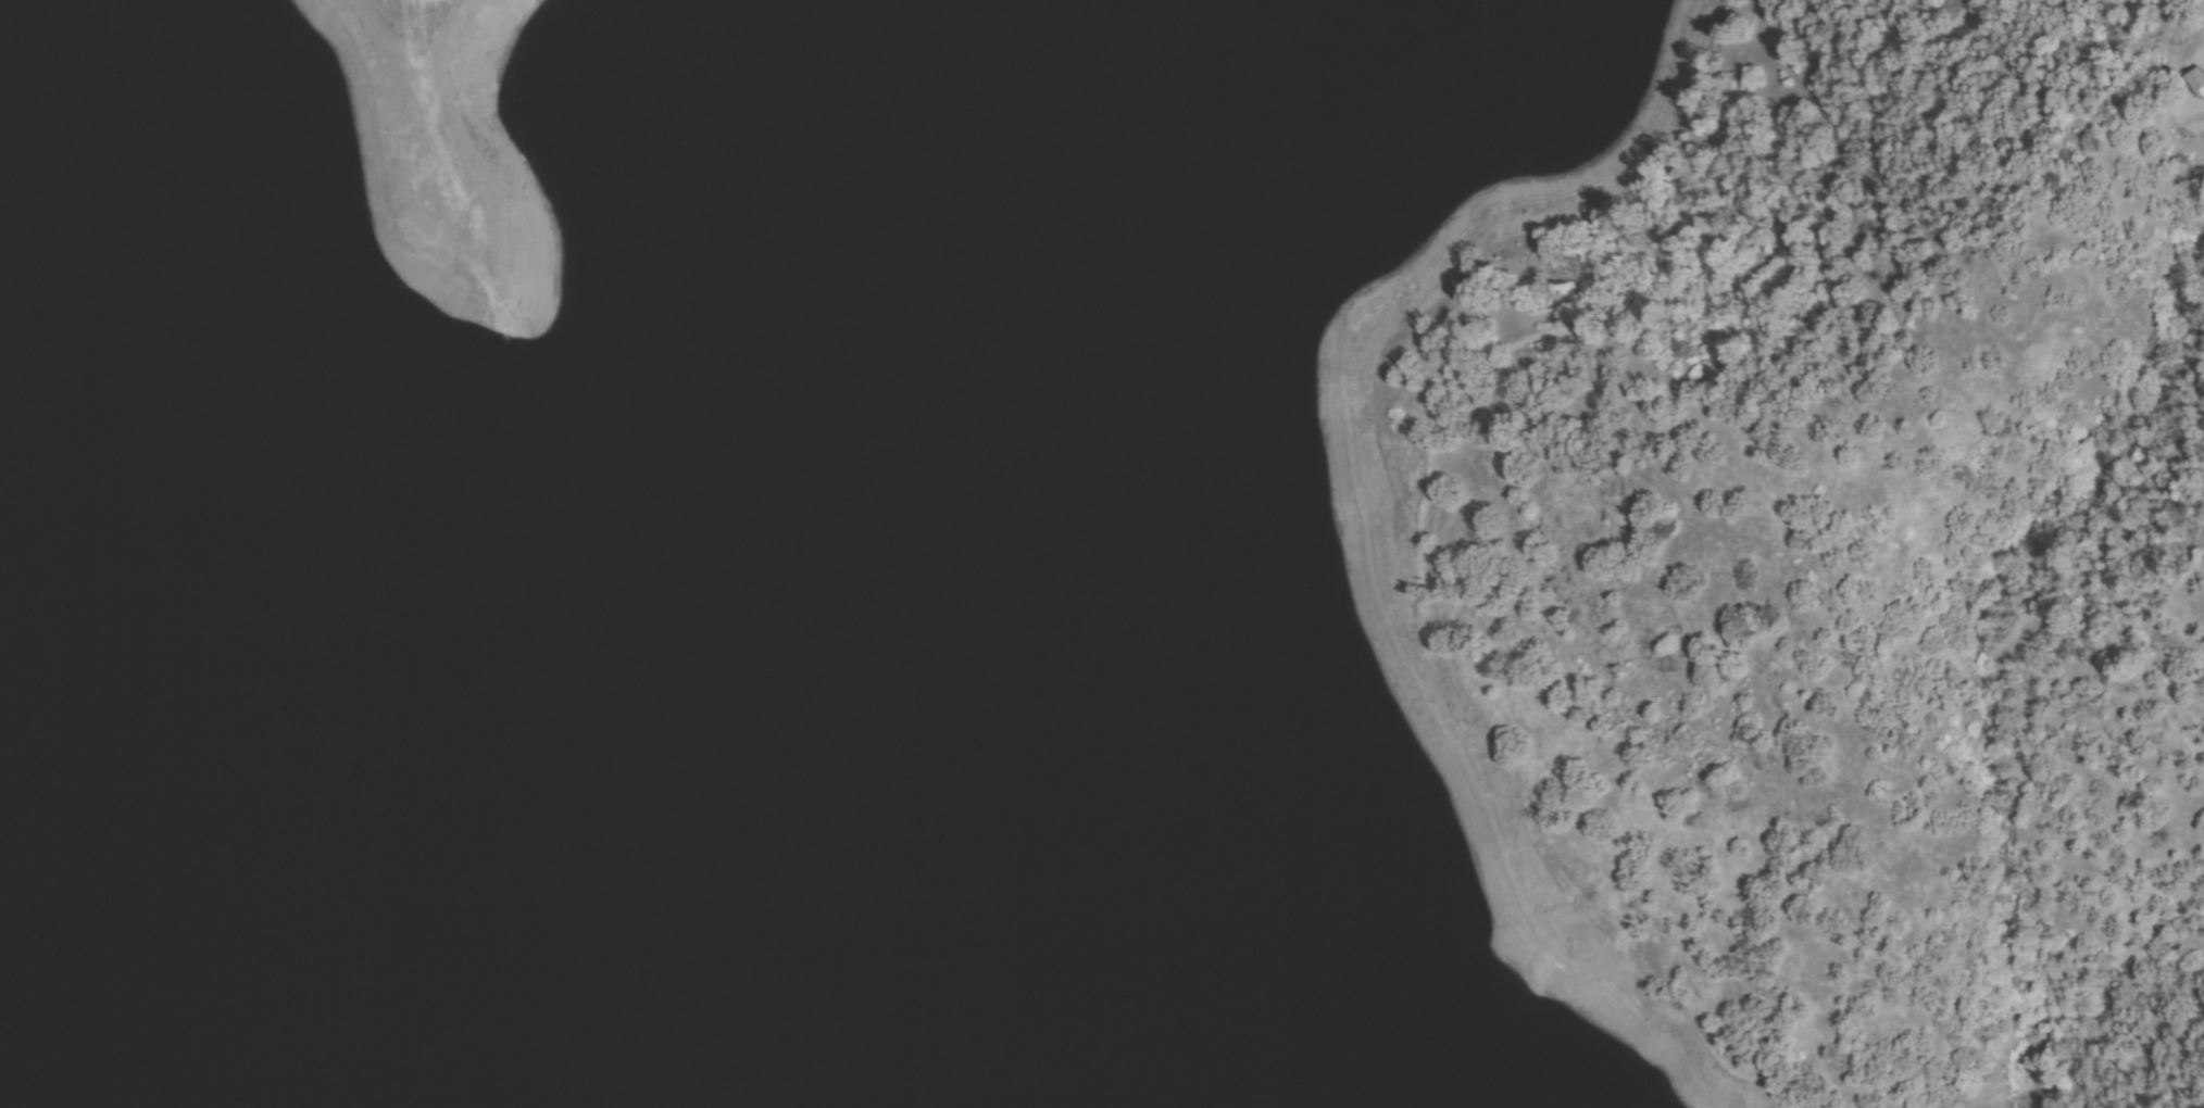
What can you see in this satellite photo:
building: (2184, 81)
building: (2196, 81)

